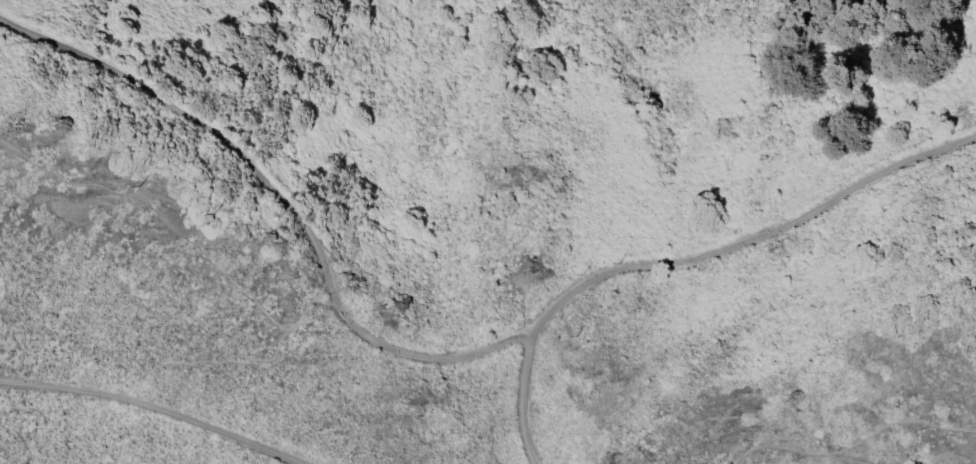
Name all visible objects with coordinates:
road: (280, 198)
road: (184, 229)
road: (747, 240)
road: (526, 403)
road: (154, 407)

